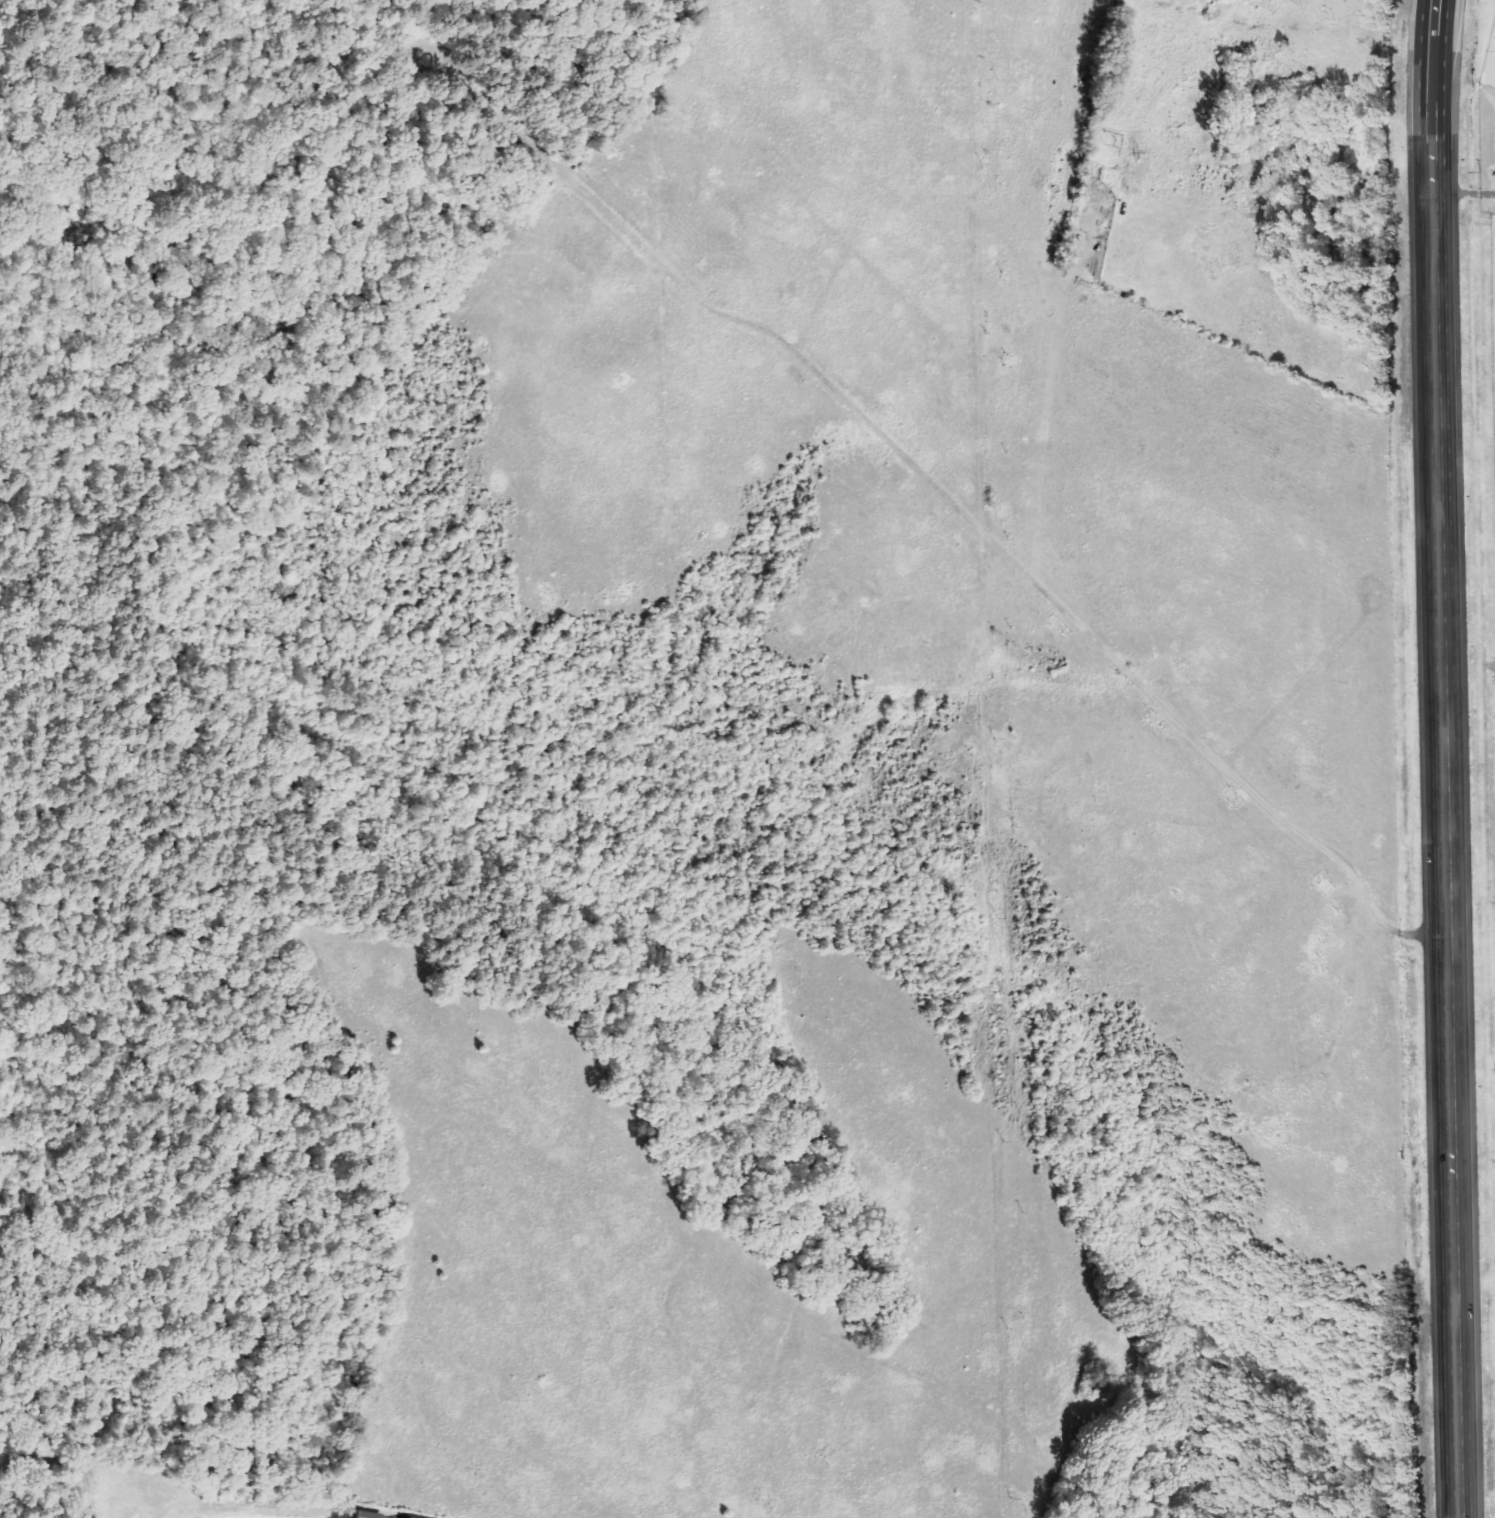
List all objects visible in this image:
road: (1434, 21)
road: (1445, 22)
airport: (1493, 280)
road: (1445, 780)

